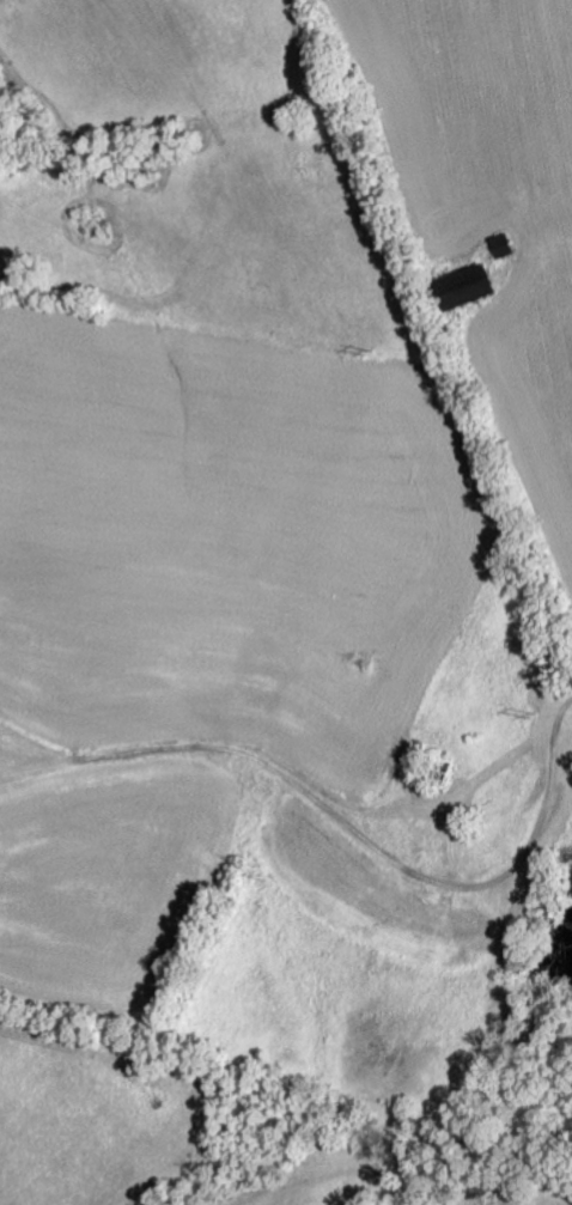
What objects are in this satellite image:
building: (499, 244)
building: (462, 286)
road: (512, 801)

